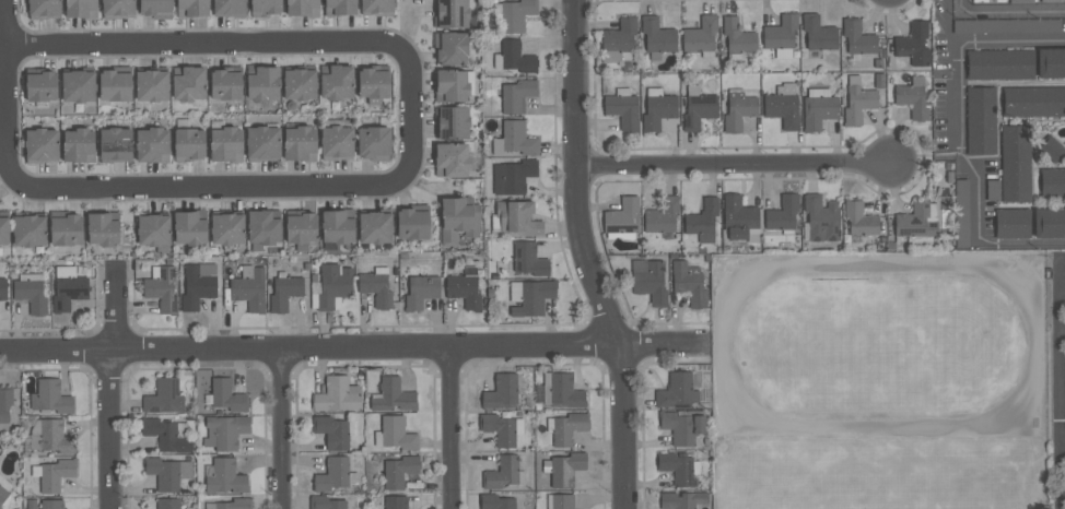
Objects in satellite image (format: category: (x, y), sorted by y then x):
building: (981, 0)
building: (1051, 0)
building: (1020, 1)
building: (340, 7)
building: (45, 8)
building: (155, 8)
building: (192, 8)
building: (229, 8)
building: (266, 8)
building: (303, 8)
building: (377, 8)
building: (81, 9)
building: (118, 9)
road: (1008, 12)
building: (453, 13)
building: (516, 14)
road: (11, 25)
building: (1006, 25)
building: (819, 34)
building: (701, 37)
building: (781, 37)
building: (657, 38)
building: (738, 38)
building: (858, 38)
road: (201, 42)
building: (619, 42)
road: (22, 44)
building: (913, 44)
building: (452, 48)
building: (514, 57)
road: (11, 63)
building: (1051, 63)
building: (999, 64)
building: (262, 82)
building: (337, 83)
building: (373, 83)
building: (190, 84)
building: (225, 84)
building: (300, 84)
building: (115, 85)
building: (152, 85)
building: (453, 85)
building: (40, 86)
building: (78, 86)
road: (7, 91)
building: (516, 95)
building: (913, 98)
building: (858, 102)
building: (1033, 102)
building: (783, 105)
building: (698, 107)
building: (622, 108)
building: (658, 108)
building: (818, 108)
building: (738, 109)
road: (410, 111)
road: (423, 114)
building: (981, 120)
building: (452, 122)
road: (957, 134)
building: (515, 139)
building: (337, 142)
building: (264, 143)
building: (300, 143)
building: (374, 143)
building: (42, 144)
building: (115, 144)
building: (189, 144)
building: (226, 144)
building: (78, 145)
building: (152, 145)
building: (1052, 149)
building: (452, 159)
building: (1016, 163)
road: (736, 164)
road: (384, 170)
building: (517, 175)
building: (1052, 182)
road: (206, 187)
building: (993, 190)
building: (961, 213)
building: (783, 214)
building: (663, 215)
building: (622, 216)
building: (459, 218)
building: (517, 218)
building: (822, 218)
building: (740, 220)
building: (859, 220)
building: (917, 220)
building: (412, 222)
building: (703, 222)
building: (1013, 223)
building: (1049, 223)
building: (338, 226)
building: (375, 227)
building: (189, 228)
building: (227, 228)
building: (301, 228)
building: (4, 229)
building: (102, 229)
building: (153, 229)
building: (264, 229)
building: (28, 230)
building: (66, 230)
road: (587, 256)
building: (528, 259)
road: (1062, 260)
road: (1058, 274)
building: (649, 280)
building: (689, 283)
building: (198, 284)
building: (330, 286)
building: (69, 287)
building: (377, 287)
road: (1062, 287)
building: (3, 288)
building: (163, 288)
building: (249, 288)
building: (465, 288)
building: (285, 291)
building: (421, 291)
building: (31, 292)
building: (515, 292)
building: (535, 297)
road: (115, 306)
road: (1061, 330)
road: (354, 347)
building: (562, 390)
building: (678, 391)
building: (501, 392)
building: (225, 395)
building: (338, 395)
building: (394, 395)
building: (164, 396)
building: (50, 398)
road: (1058, 398)
building: (4, 409)
building: (566, 427)
building: (682, 427)
road: (280, 428)
road: (449, 428)
road: (110, 429)
building: (501, 429)
building: (225, 431)
building: (333, 431)
building: (395, 434)
building: (168, 435)
building: (49, 436)
road: (1062, 442)
building: (679, 467)
building: (564, 469)
building: (399, 471)
building: (167, 473)
building: (502, 473)
building: (56, 474)
building: (335, 474)
building: (225, 477)
building: (4, 488)
building: (682, 499)
building: (396, 501)
building: (560, 501)
building: (326, 502)
building: (498, 502)
building: (51, 504)
building: (167, 504)
building: (231, 504)
building: (1, 507)

